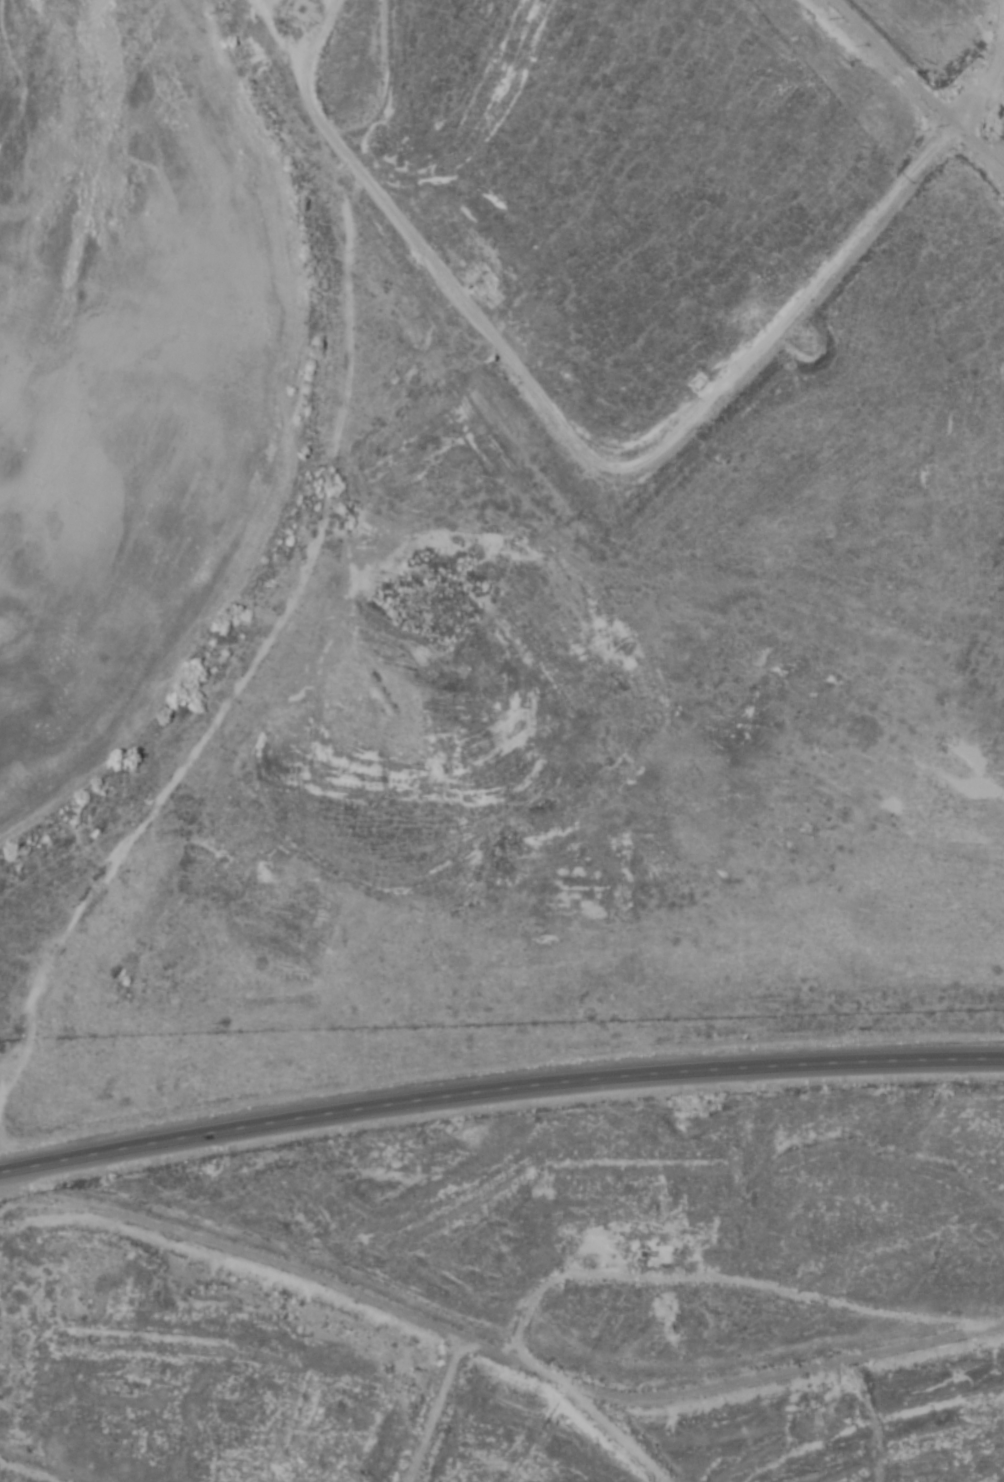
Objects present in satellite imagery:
road: (985, 68)
road: (917, 92)
river: (99, 238)
road: (560, 422)
road: (499, 1090)
road: (10, 1233)
road: (502, 1345)
road: (445, 1406)
road: (622, 1440)

